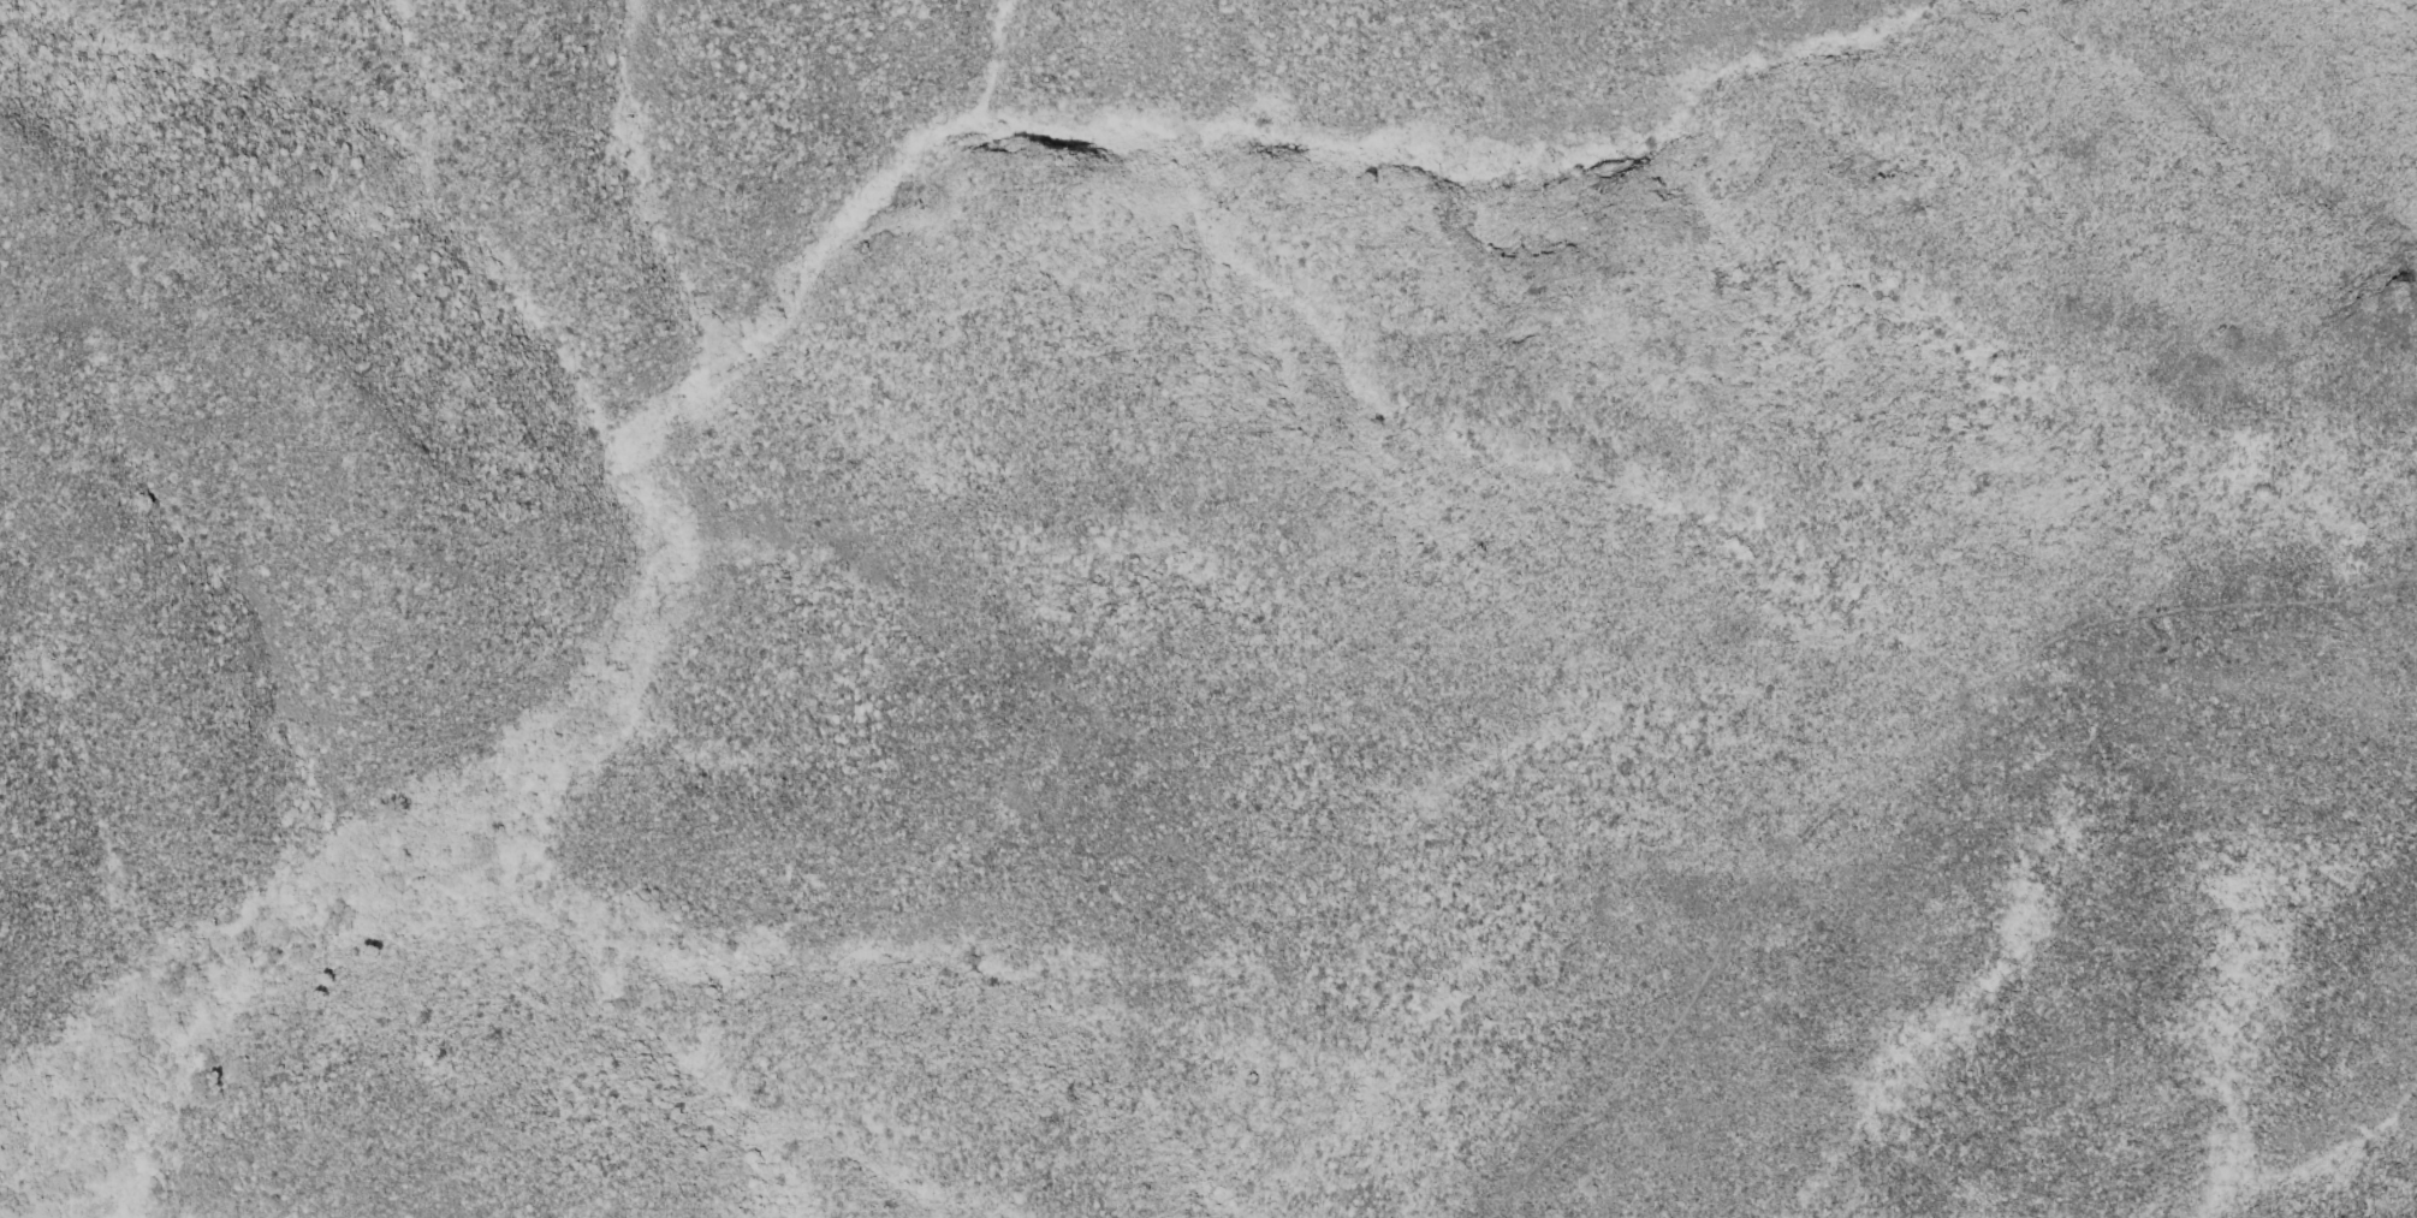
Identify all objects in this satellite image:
road: (1878, 773)
park: (1658, 849)

